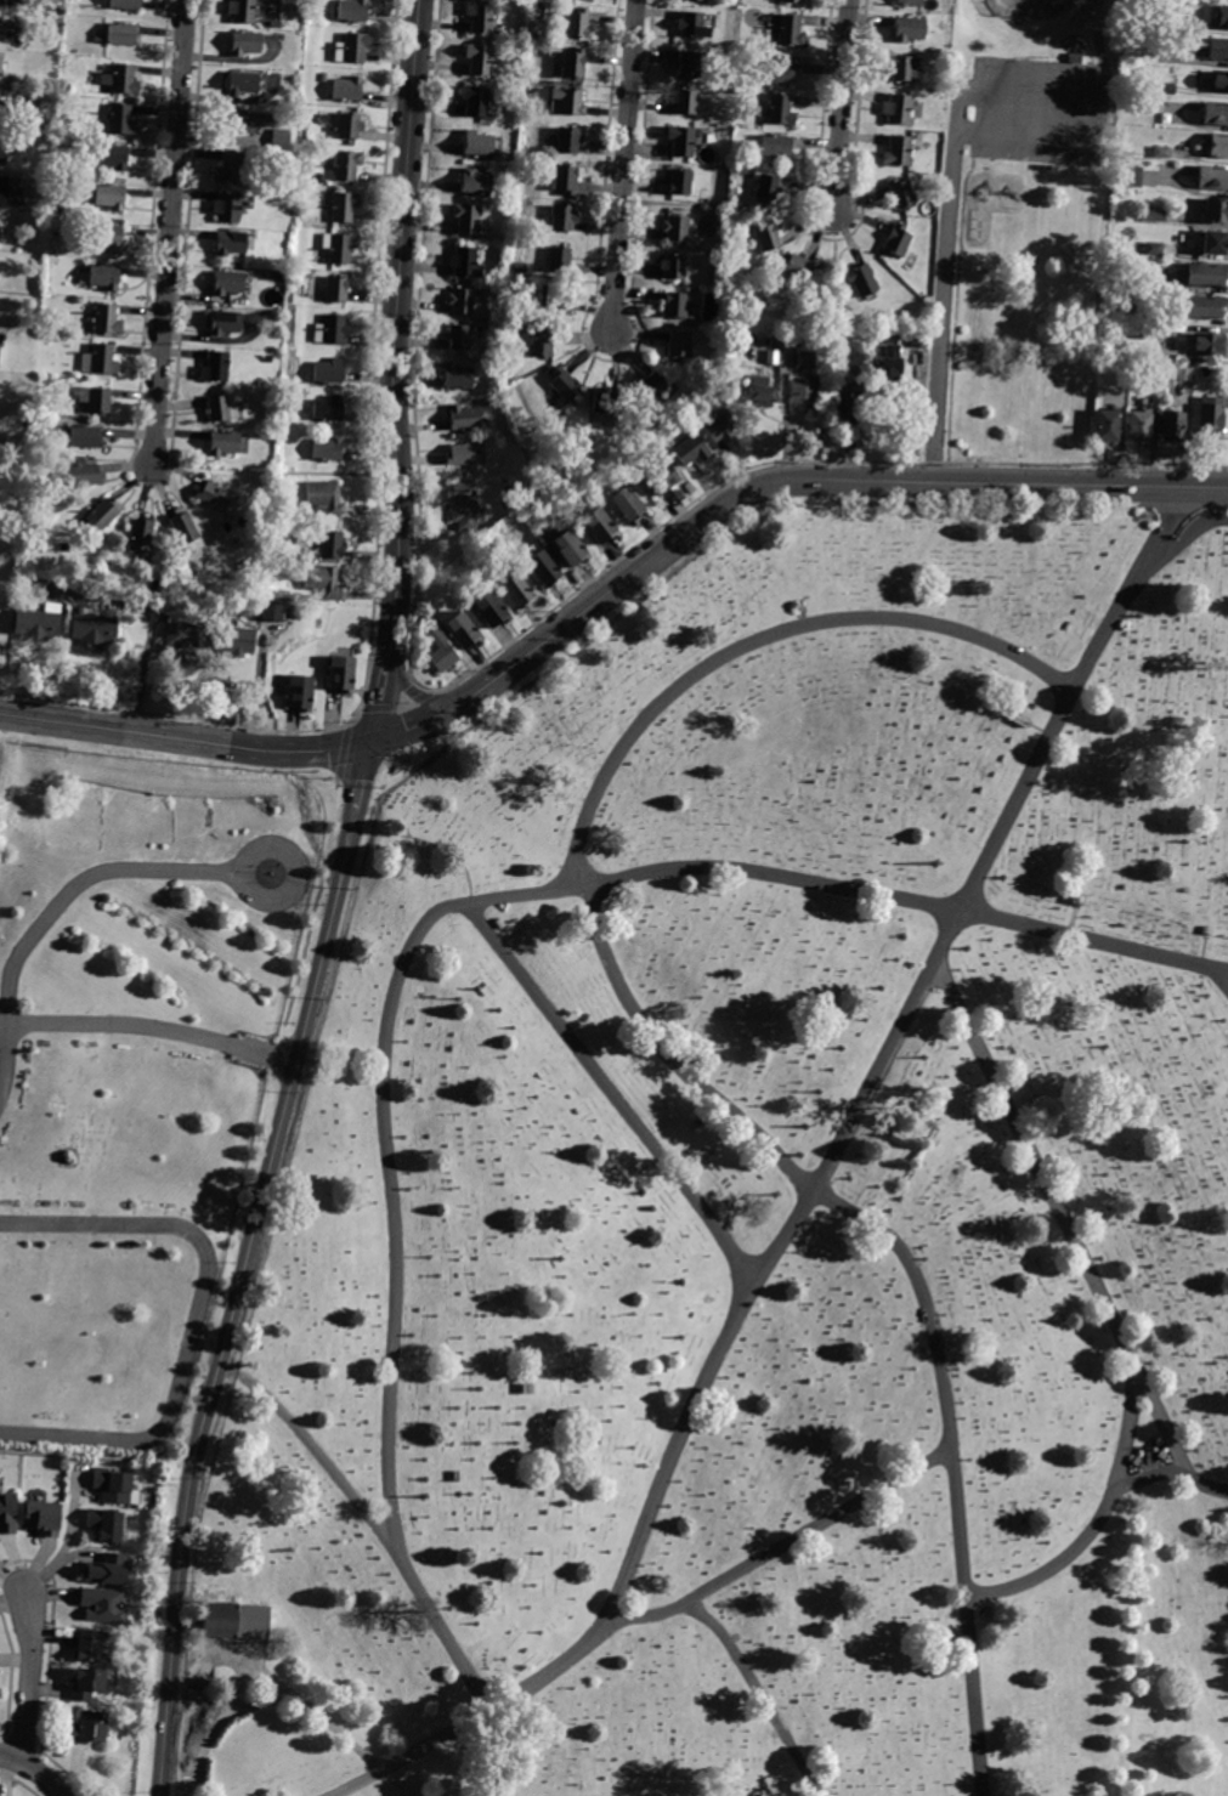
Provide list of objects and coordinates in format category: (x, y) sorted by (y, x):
building: (694, 0)
building: (4, 1)
building: (791, 1)
building: (909, 1)
building: (125, 5)
building: (240, 11)
building: (351, 11)
park: (1059, 15)
building: (480, 17)
building: (1222, 17)
building: (275, 24)
building: (576, 26)
building: (1171, 26)
building: (692, 27)
building: (7, 30)
building: (791, 30)
building: (909, 30)
building: (118, 35)
building: (531, 35)
building: (244, 43)
building: (350, 49)
building: (1217, 50)
building: (480, 61)
building: (572, 64)
building: (690, 64)
building: (0, 68)
building: (781, 70)
building: (902, 70)
building: (324, 78)
building: (123, 79)
building: (1219, 81)
building: (240, 84)
building: (1166, 87)
building: (346, 90)
building: (475, 101)
building: (566, 102)
building: (686, 102)
building: (282, 103)
road: (1090, 103)
road: (841, 108)
building: (4, 109)
building: (780, 109)
building: (898, 109)
building: (1215, 113)
building: (123, 119)
building: (243, 121)
building: (347, 126)
building: (51, 128)
building: (279, 140)
building: (567, 141)
building: (681, 141)
building: (477, 145)
building: (1217, 146)
building: (775, 147)
building: (2, 152)
building: (898, 152)
building: (1161, 153)
building: (115, 158)
building: (345, 164)
road: (624, 165)
building: (228, 168)
building: (735, 168)
building: (1128, 176)
building: (1212, 177)
building: (319, 179)
building: (564, 180)
building: (475, 182)
building: (680, 182)
building: (2, 188)
building: (766, 188)
building: (900, 194)
building: (109, 197)
building: (343, 205)
building: (226, 208)
building: (1215, 210)
building: (1151, 216)
building: (562, 219)
building: (470, 221)
building: (675, 227)
building: (0, 230)
road: (169, 232)
building: (106, 236)
building: (884, 236)
building: (766, 237)
building: (1018, 238)
building: (898, 240)
building: (231, 243)
building: (1210, 243)
building: (340, 248)
building: (1154, 248)
building: (559, 261)
building: (465, 264)
building: (4, 265)
building: (673, 266)
building: (519, 267)
building: (1111, 270)
building: (793, 271)
building: (1206, 273)
building: (279, 274)
building: (102, 277)
building: (860, 281)
building: (225, 283)
building: (334, 288)
building: (551, 298)
building: (462, 300)
building: (679, 306)
building: (1206, 306)
building: (809, 316)
road: (944, 317)
building: (106, 318)
building: (225, 323)
road: (396, 323)
building: (330, 329)
building: (1148, 330)
building: (458, 336)
building: (918, 338)
building: (542, 342)
building: (1210, 344)
building: (679, 345)
road: (828, 345)
building: (0, 351)
building: (1113, 358)
building: (102, 359)
building: (216, 367)
building: (884, 367)
building: (327, 370)
building: (1183, 373)
building: (457, 376)
building: (804, 380)
building: (651, 385)
building: (562, 387)
building: (759, 390)
building: (95, 398)
building: (604, 402)
building: (847, 403)
building: (217, 408)
building: (326, 409)
building: (464, 419)
building: (1210, 420)
building: (1107, 425)
building: (1138, 425)
building: (1171, 425)
building: (720, 427)
building: (80, 437)
building: (630, 440)
building: (221, 443)
building: (326, 448)
building: (690, 451)
building: (462, 454)
road: (275, 471)
building: (81, 472)
road: (832, 475)
building: (660, 477)
building: (323, 498)
building: (217, 499)
building: (465, 505)
building: (627, 505)
building: (102, 512)
building: (40, 515)
building: (600, 525)
building: (185, 531)
building: (138, 534)
road: (1183, 537)
building: (330, 544)
building: (570, 549)
building: (542, 568)
building: (323, 580)
building: (516, 590)
building: (491, 610)
building: (271, 611)
road: (151, 622)
building: (36, 624)
building: (94, 629)
building: (462, 630)
building: (186, 635)
building: (234, 641)
building: (441, 652)
road: (386, 653)
building: (341, 674)
road: (408, 685)
building: (1002, 689)
road: (475, 690)
building: (299, 693)
road: (418, 695)
road: (379, 702)
road: (403, 702)
road: (377, 706)
road: (350, 714)
building: (1022, 720)
road: (411, 725)
road: (185, 740)
traffic signals: (372, 743)
road: (340, 748)
road: (363, 776)
road: (255, 843)
flagpole: (279, 868)
flagpole: (262, 869)
flagpole: (273, 876)
flagpole: (276, 884)
road: (516, 895)
building: (1077, 899)
road: (966, 910)
road: (53, 911)
building: (1207, 930)
road: (1212, 984)
road: (151, 1027)
road: (669, 1064)
building: (696, 1124)
building: (896, 1138)
park: (669, 1175)
road: (1074, 1237)
road: (234, 1299)
road: (202, 1325)
road: (718, 1355)
building: (527, 1388)
building: (558, 1423)
road: (316, 1444)
road: (1150, 1475)
building: (458, 1477)
building: (114, 1490)
building: (9, 1513)
building: (44, 1518)
road: (1100, 1519)
building: (109, 1528)
road: (66, 1541)
road: (783, 1545)
building: (108, 1574)
building: (103, 1605)
building: (242, 1617)
building: (90, 1650)
road: (462, 1664)
road: (29, 1677)
building: (89, 1684)
road: (759, 1692)
road: (276, 1709)
building: (89, 1728)
road: (34, 1770)
road: (364, 1781)

